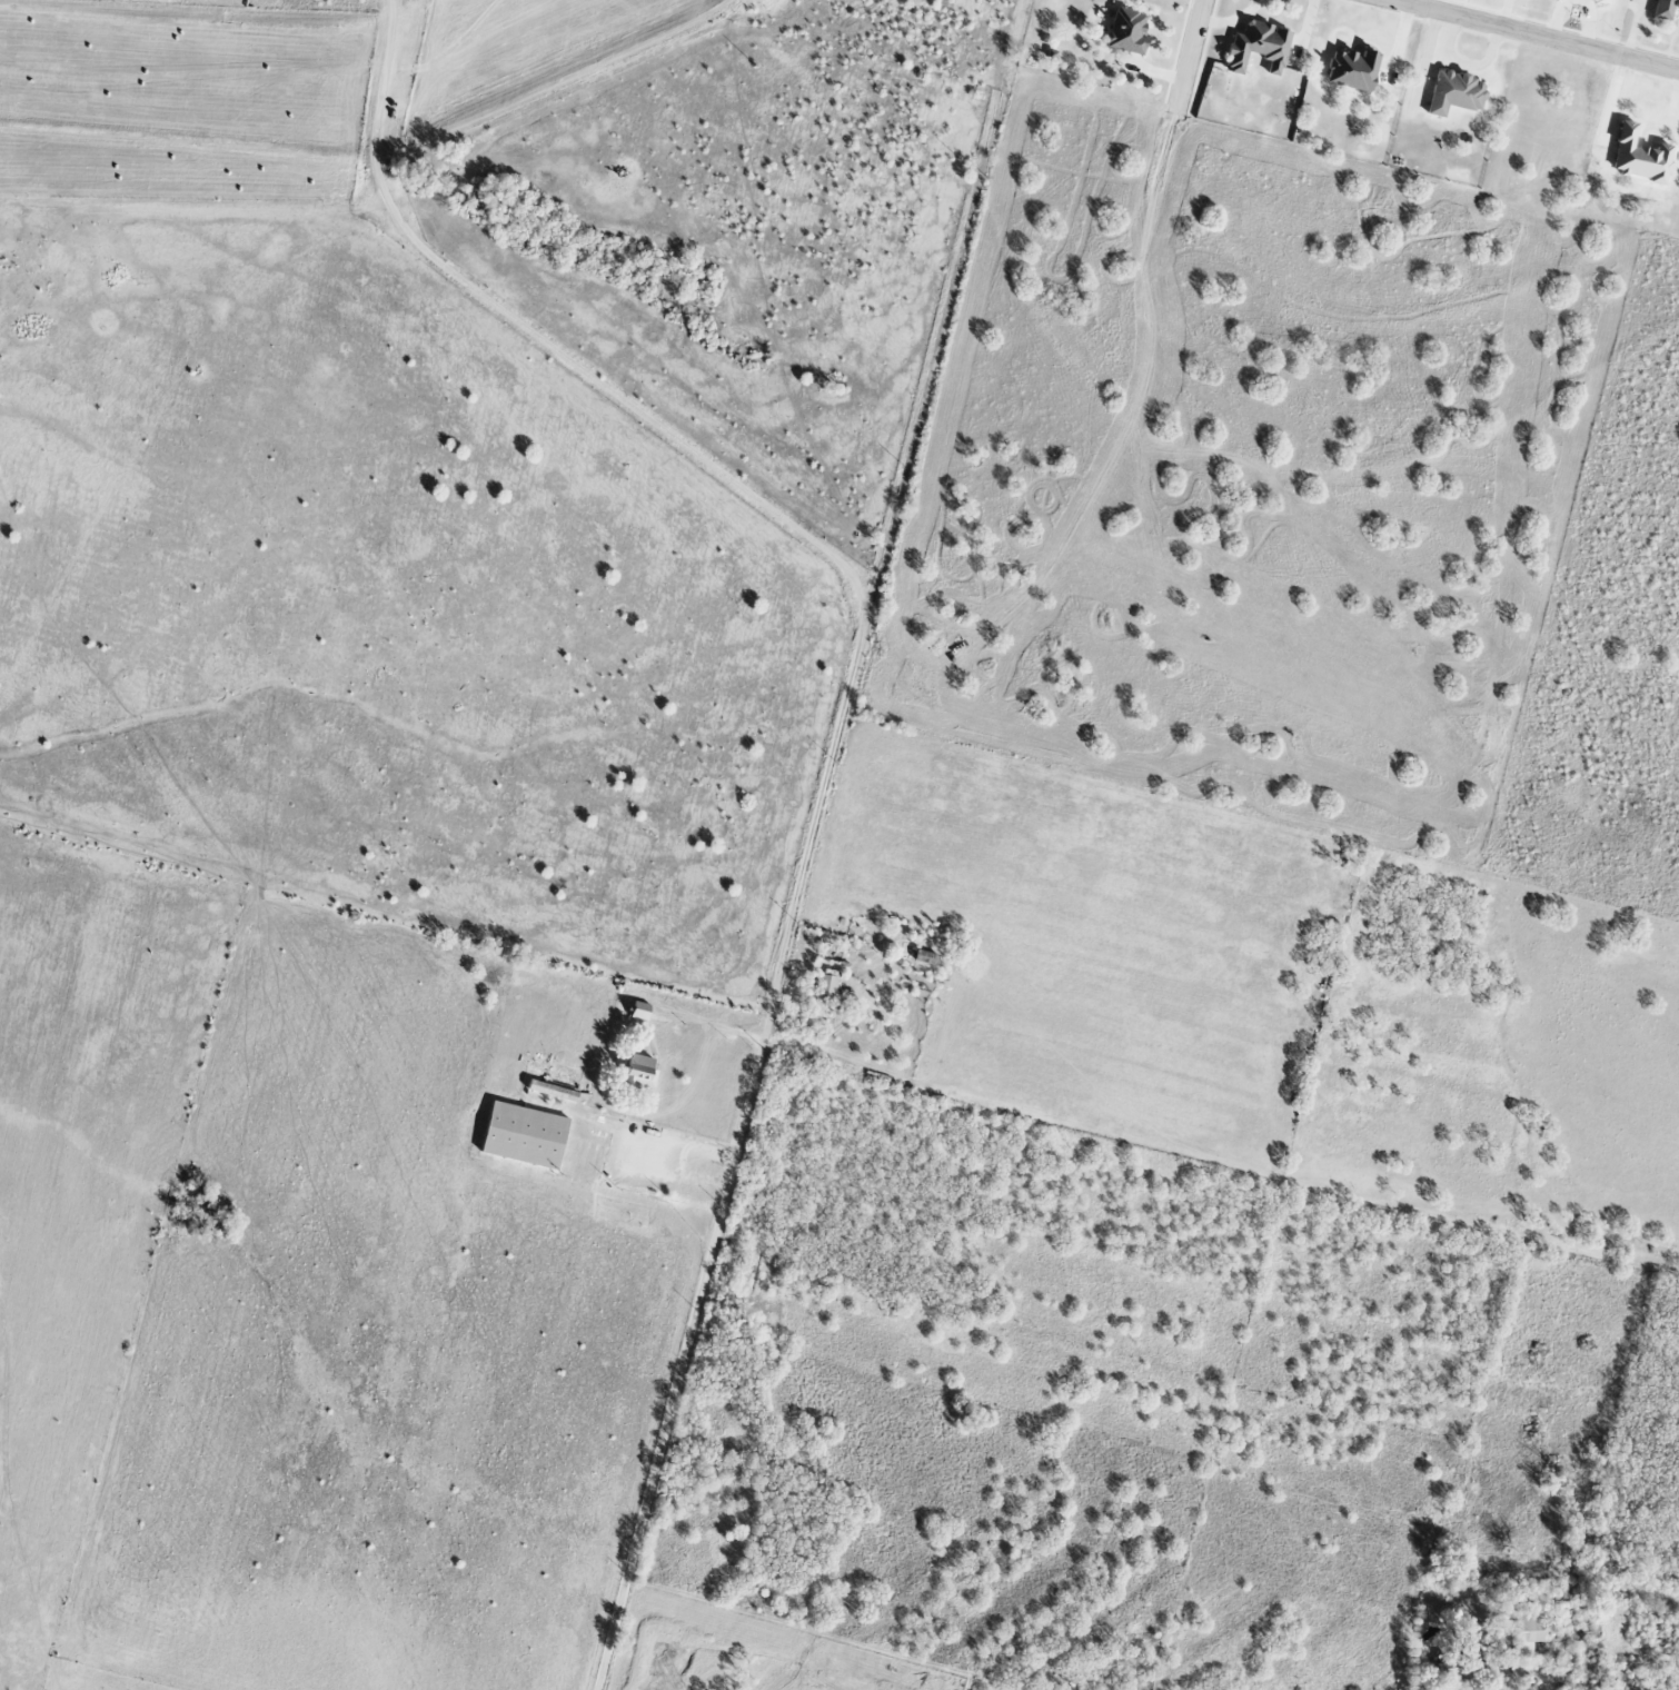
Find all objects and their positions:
building: (1601, 1)
building: (1665, 9)
building: (1127, 31)
road: (1539, 36)
building: (1259, 47)
road: (1189, 58)
building: (1352, 70)
building: (1456, 93)
building: (1639, 157)
road: (837, 742)
building: (826, 987)
building: (640, 1072)
building: (524, 1135)
building: (1527, 1633)

